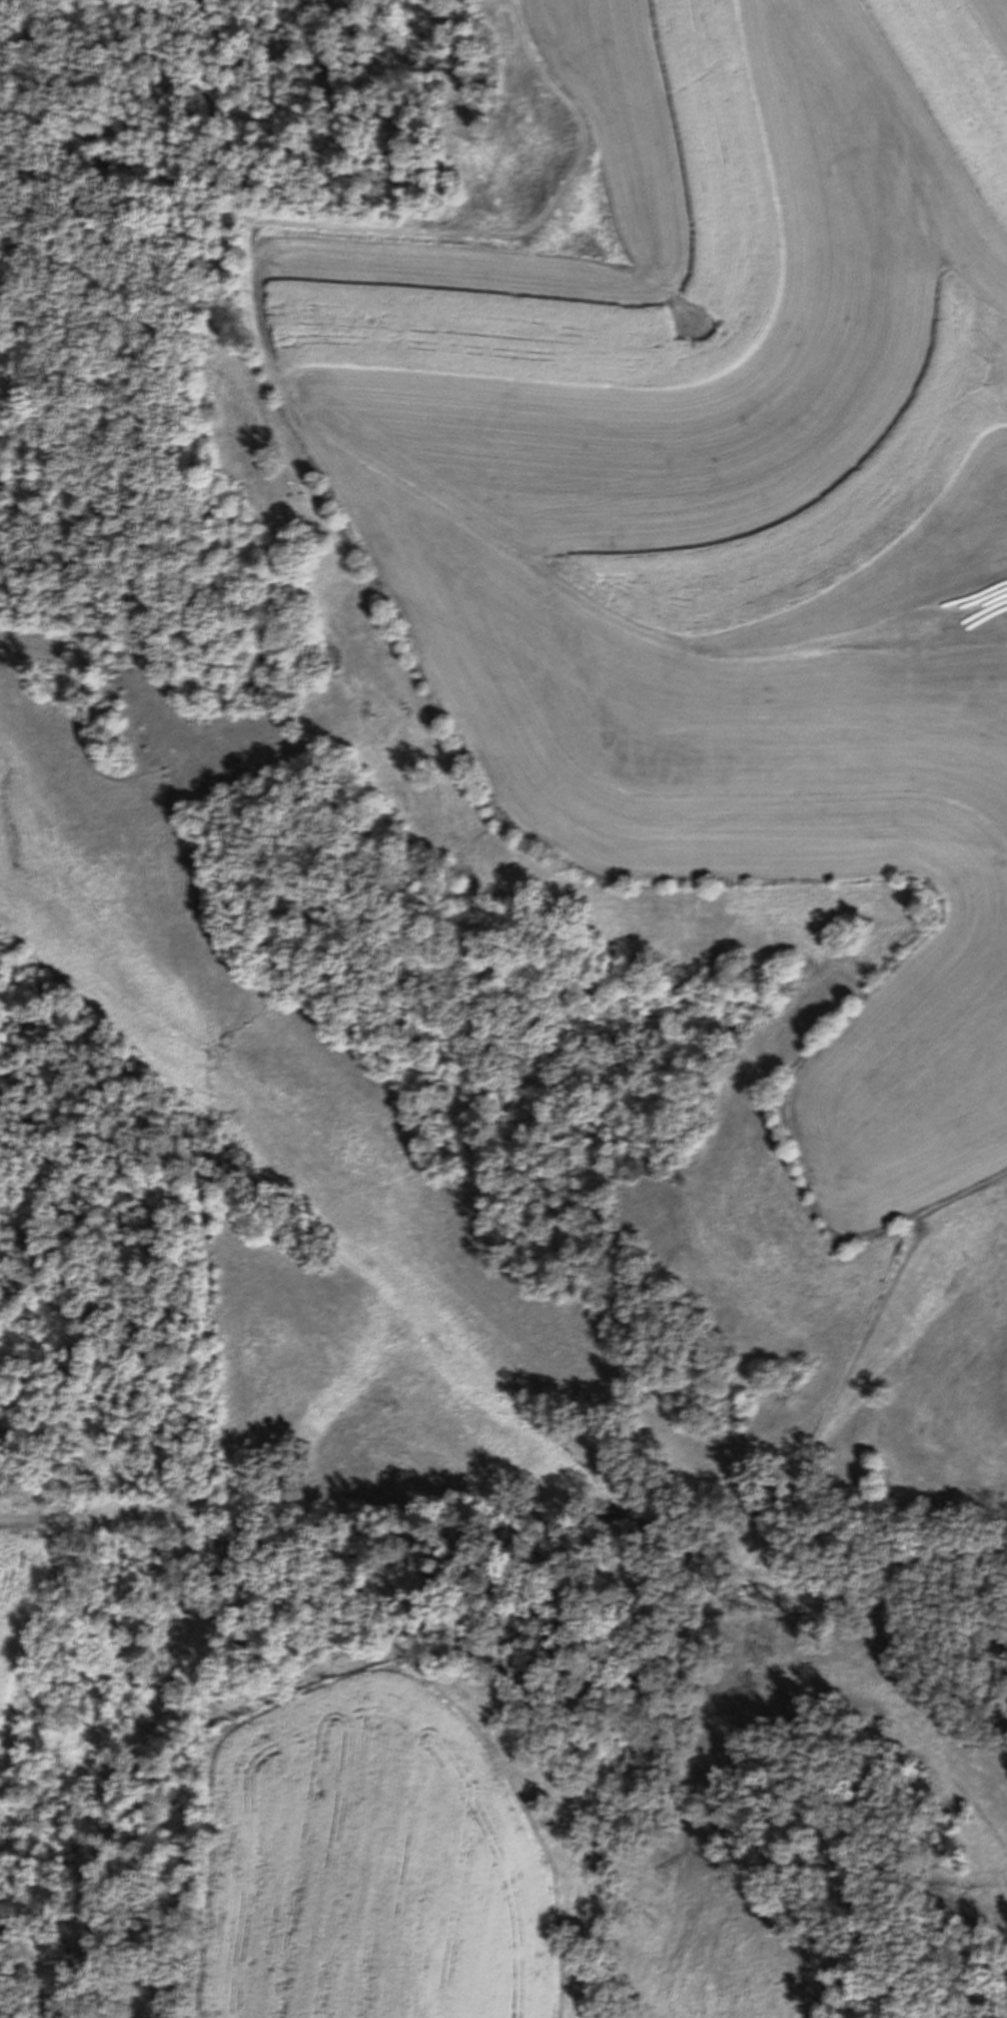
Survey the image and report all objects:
road: (150, 67)
building: (5, 174)
road: (1, 208)
road: (428, 231)
road: (28, 244)

